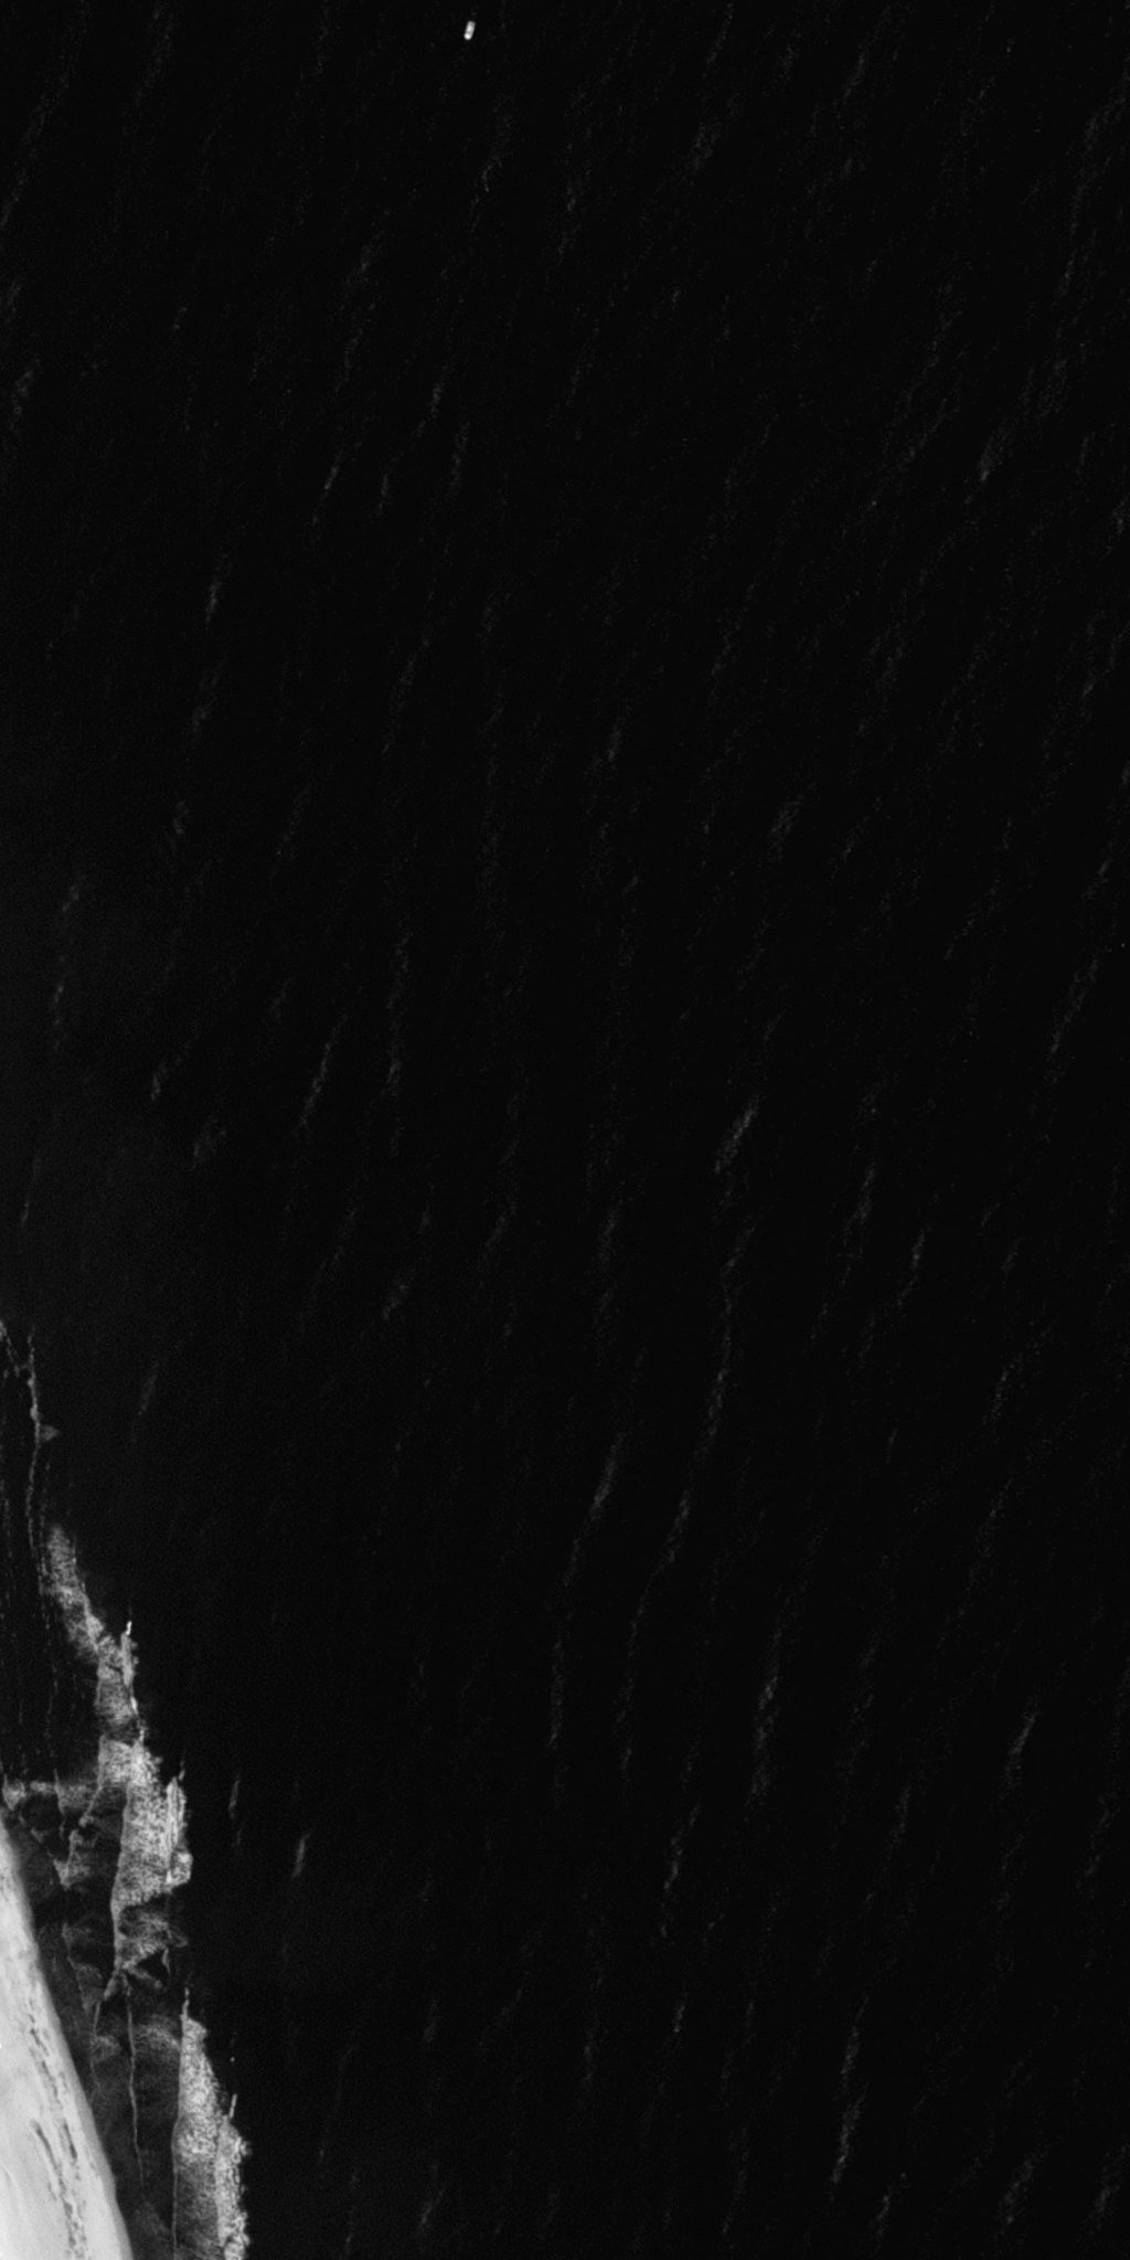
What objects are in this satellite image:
road: (34, 2130)

